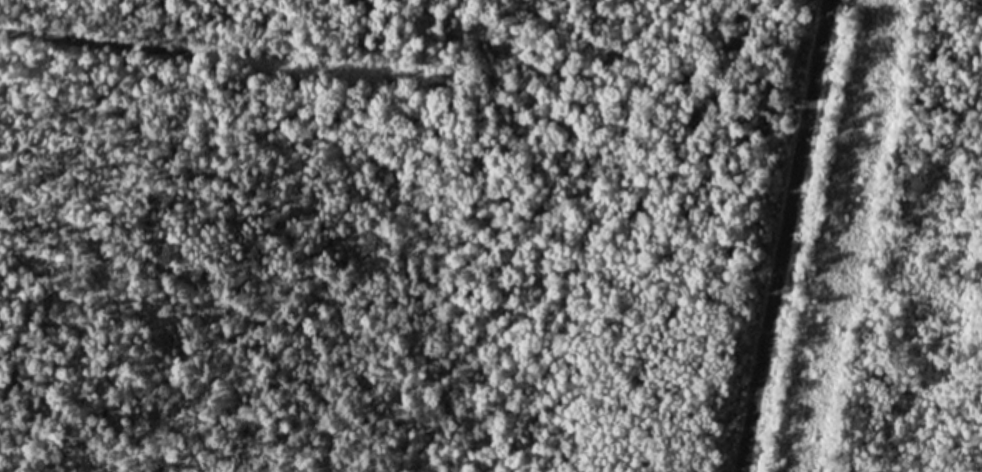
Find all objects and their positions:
railway: (783, 235)
power tower: (833, 266)

